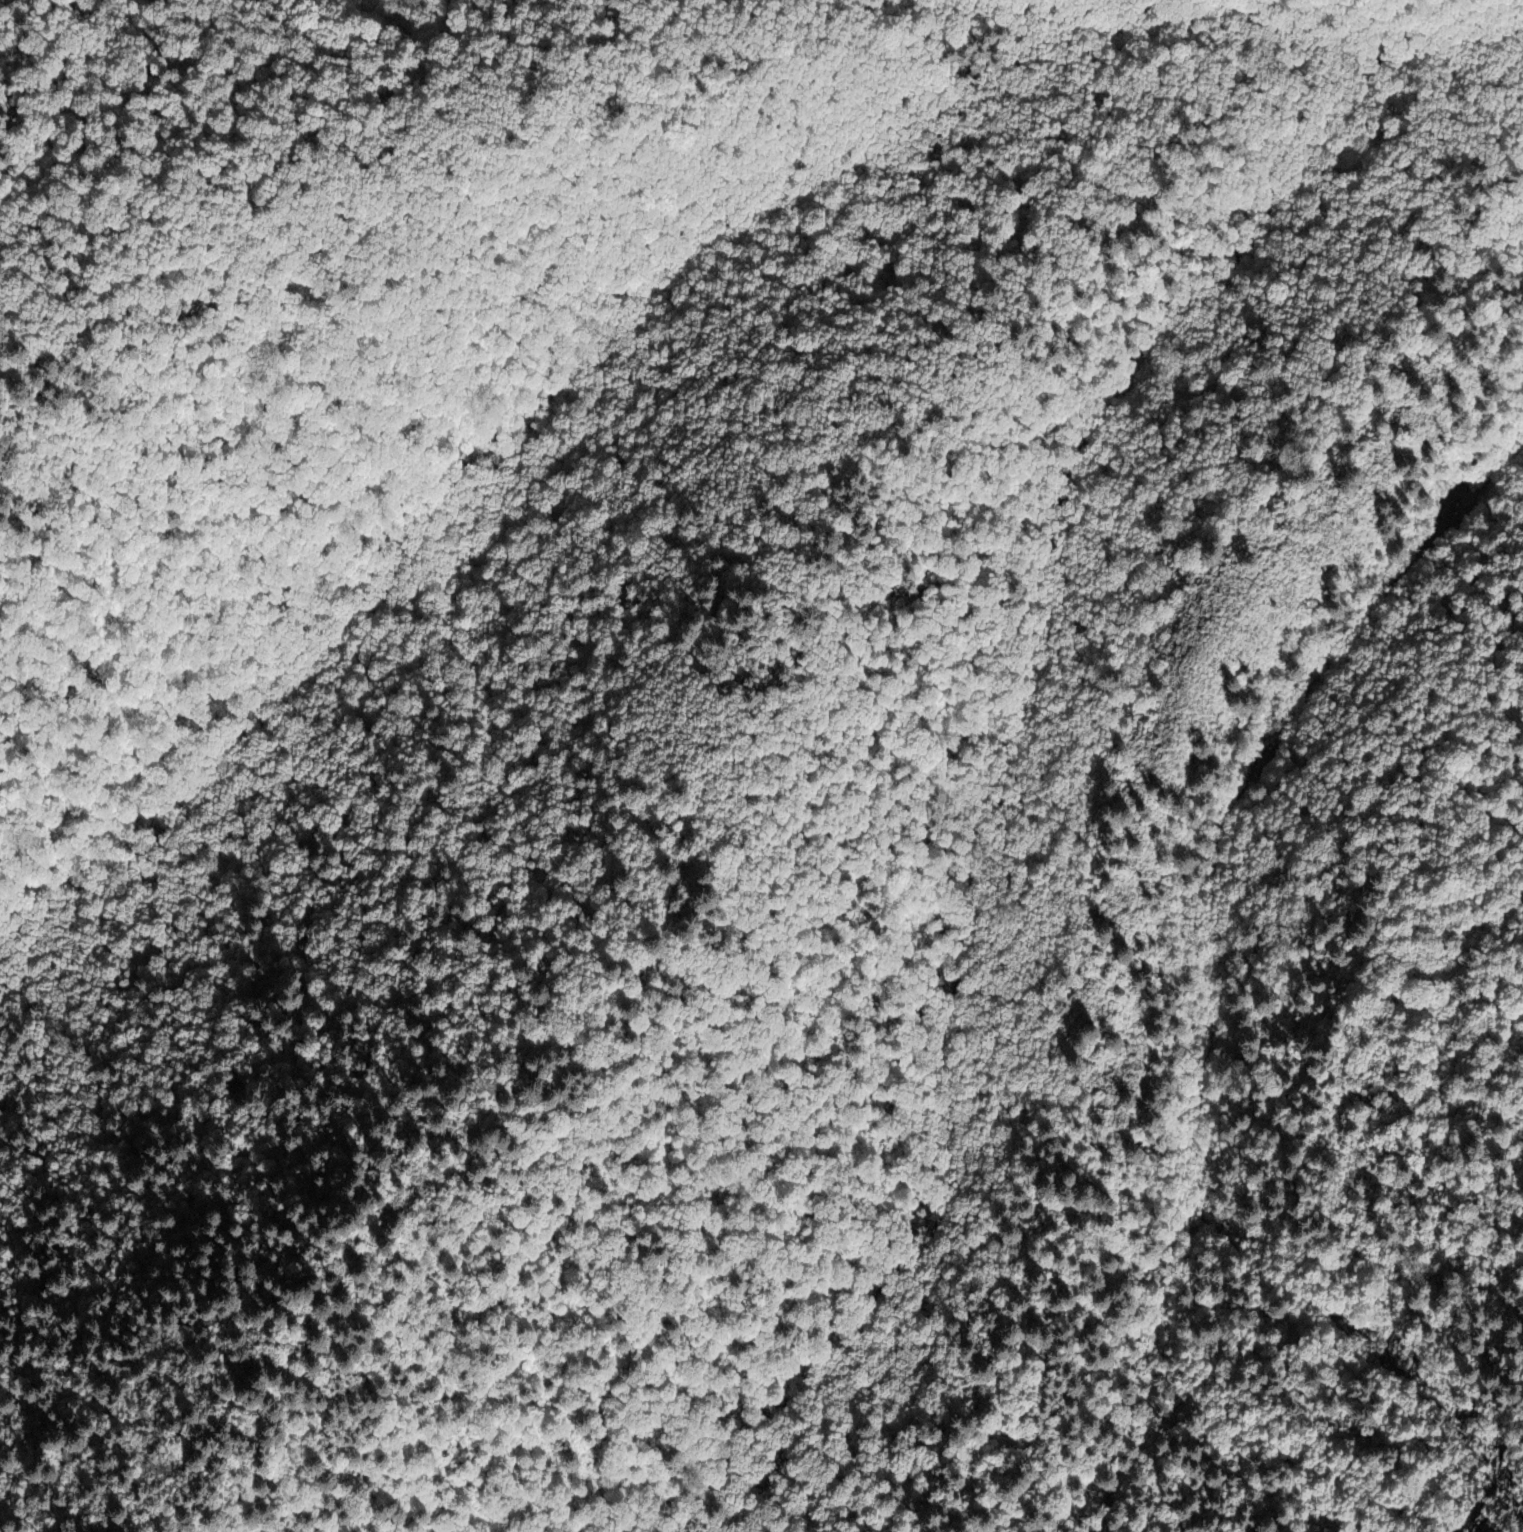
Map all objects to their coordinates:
river: (1074, 17)
river: (1325, 46)

